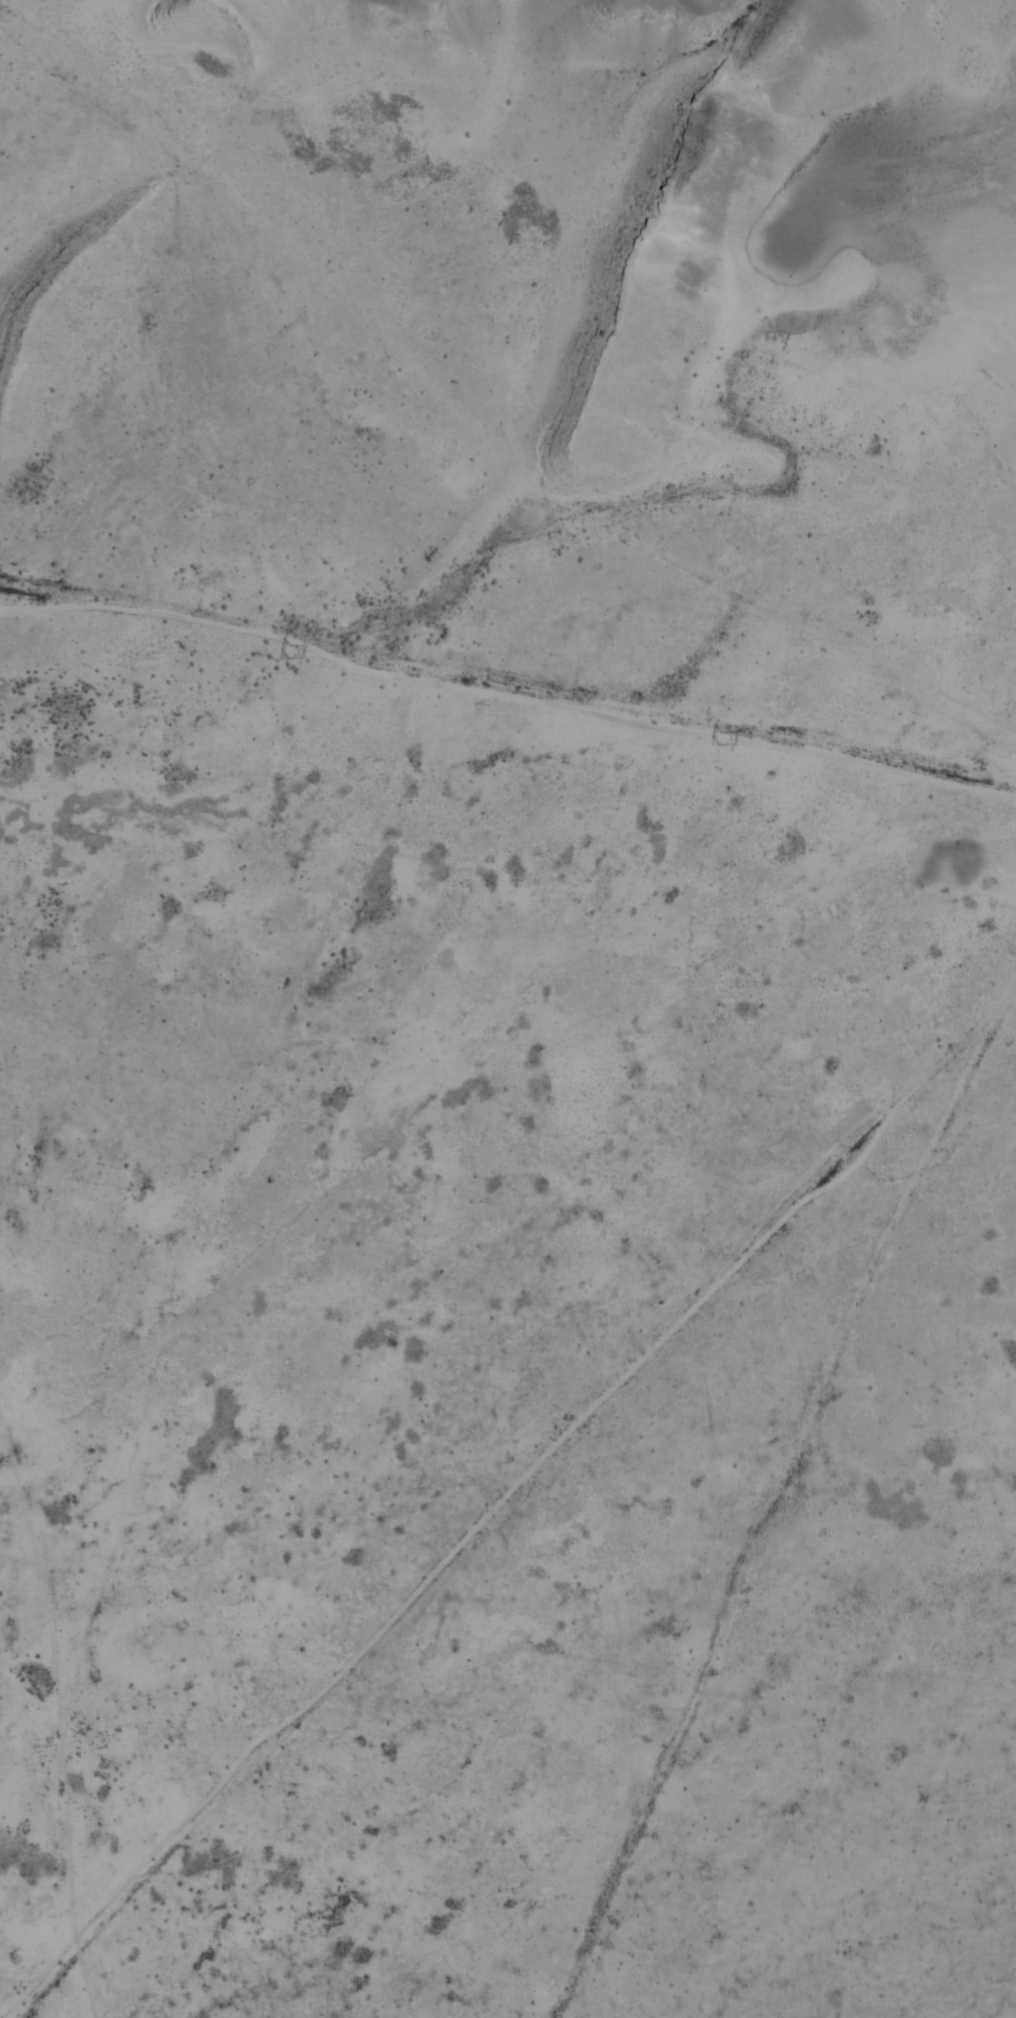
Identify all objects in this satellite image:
power tower: (287, 649)
power tower: (718, 737)
road: (515, 1495)

